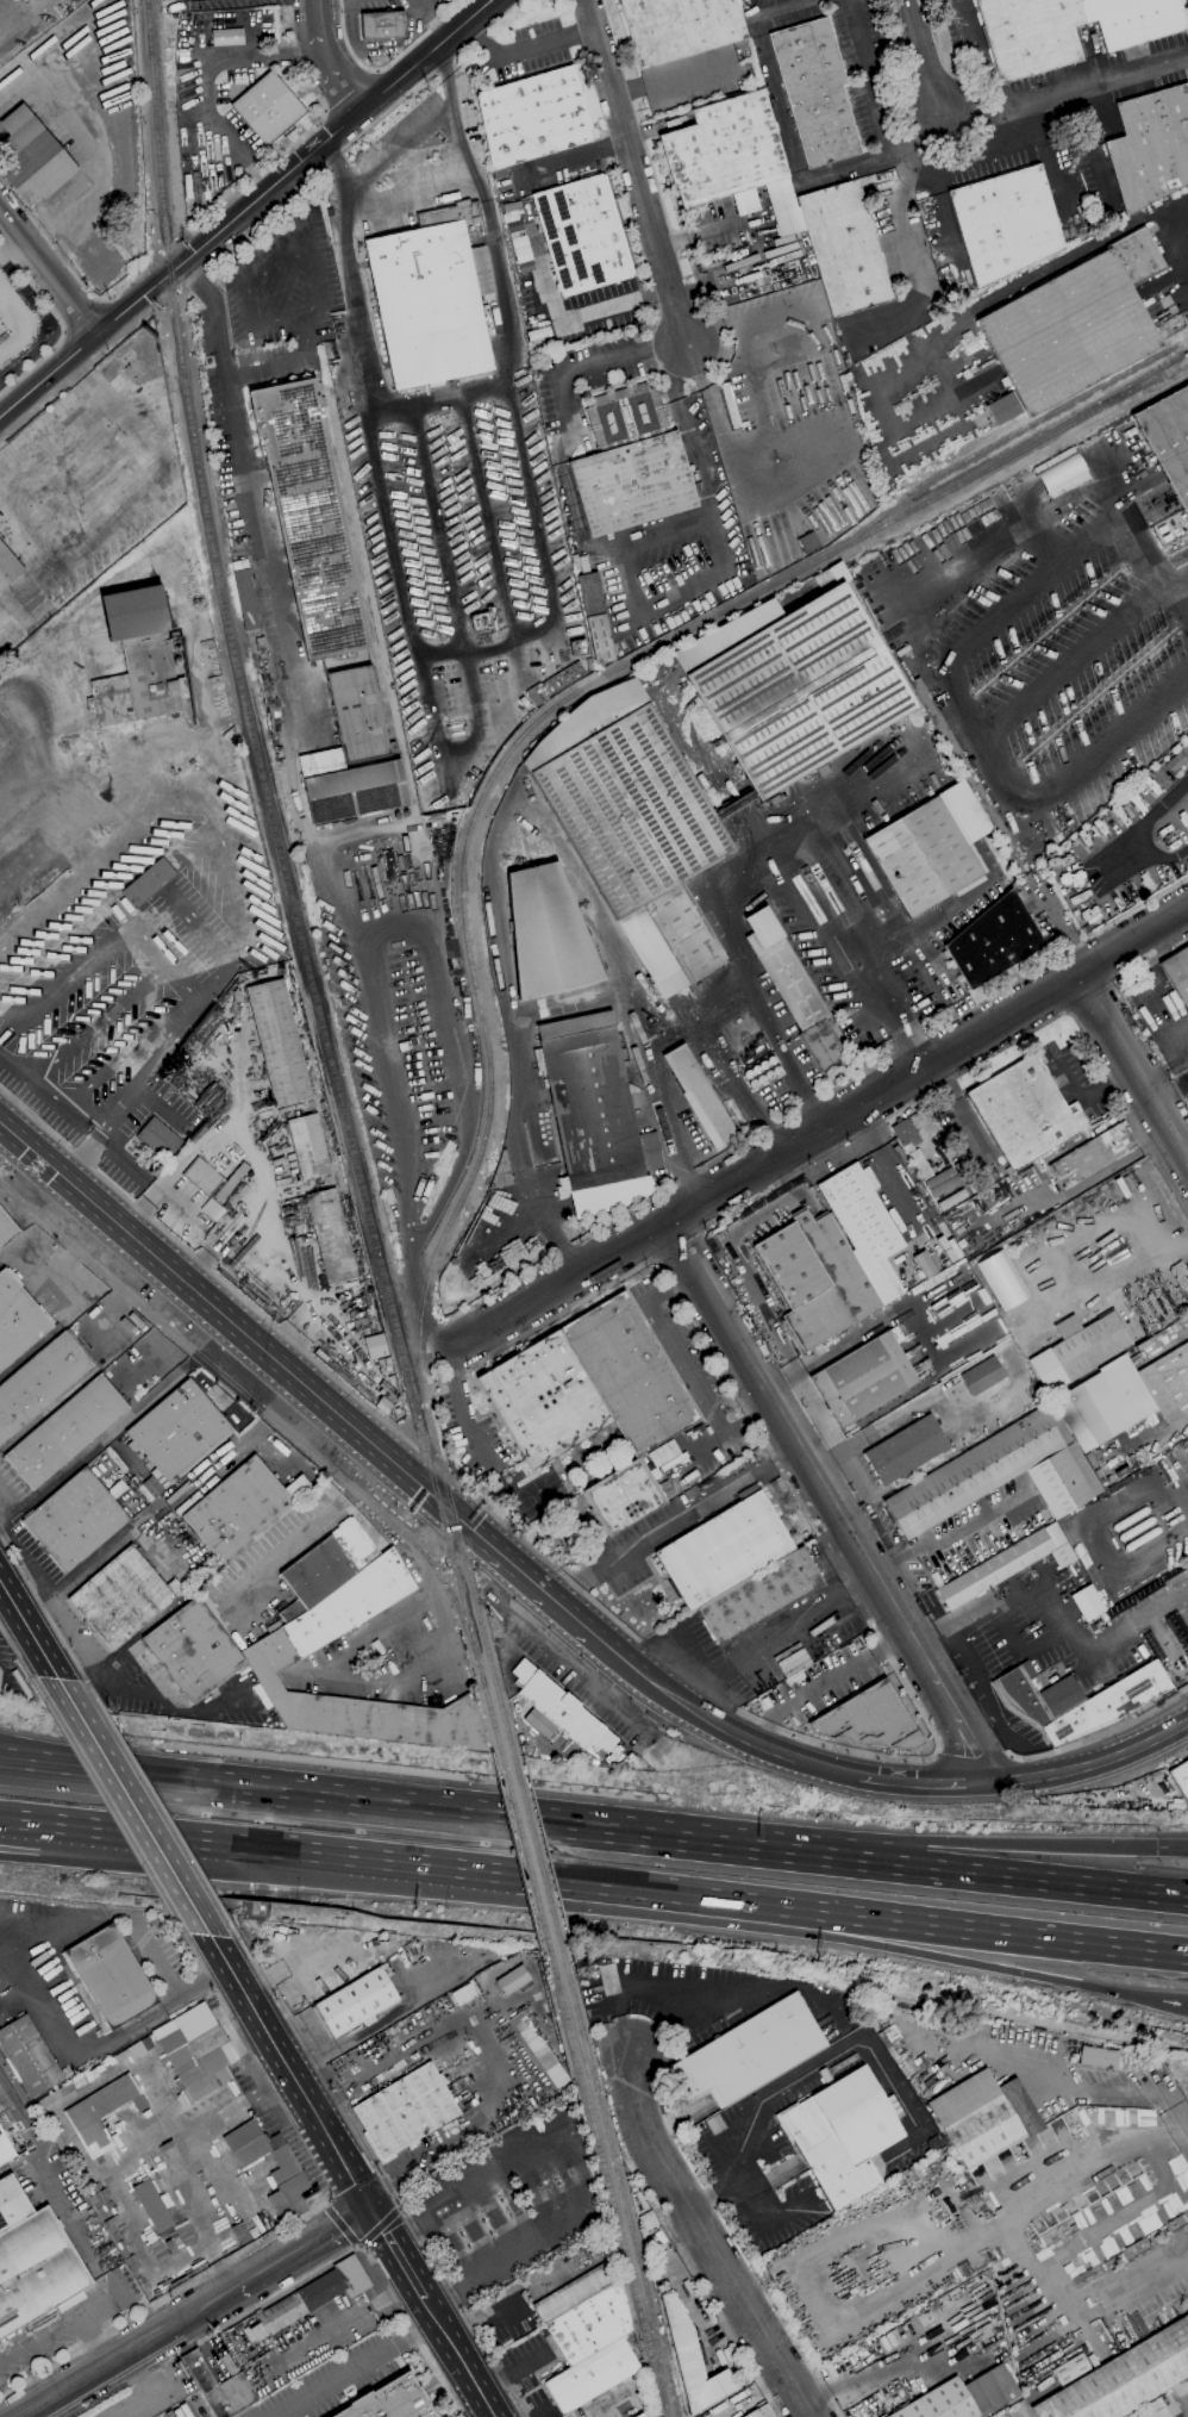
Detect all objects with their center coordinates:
road: (762, 5)
road: (317, 17)
building: (382, 24)
building: (679, 27)
building: (1068, 29)
building: (227, 37)
road: (525, 51)
road: (920, 57)
road: (388, 63)
road: (337, 73)
road: (870, 74)
road: (207, 77)
road: (674, 77)
building: (814, 91)
road: (1064, 98)
road: (393, 107)
building: (268, 108)
building: (533, 117)
road: (788, 138)
road: (943, 141)
road: (400, 145)
road: (289, 147)
building: (1150, 147)
building: (724, 150)
building: (32, 157)
road: (333, 158)
road: (571, 158)
road: (965, 161)
road: (636, 169)
flagpole: (382, 183)
flagpole: (392, 183)
flagpole: (376, 187)
road: (407, 197)
road: (245, 210)
road: (486, 211)
road: (621, 223)
building: (1005, 223)
road: (255, 224)
building: (582, 235)
road: (896, 239)
road: (11, 245)
building: (843, 248)
road: (264, 270)
road: (48, 272)
road: (349, 275)
road: (1030, 284)
building: (431, 298)
road: (212, 301)
road: (733, 319)
road: (562, 320)
road: (60, 324)
building: (1075, 324)
road: (706, 330)
road: (749, 339)
road: (698, 343)
road: (593, 360)
road: (289, 365)
road: (440, 398)
road: (762, 399)
building: (730, 406)
building: (1002, 409)
road: (684, 428)
road: (80, 438)
building: (1169, 438)
road: (725, 444)
railway: (993, 444)
road: (564, 450)
building: (630, 465)
building: (1059, 472)
road: (531, 504)
building: (308, 517)
road: (487, 518)
road: (574, 519)
road: (439, 528)
road: (268, 535)
road: (390, 536)
building: (808, 542)
road: (1145, 553)
building: (8, 566)
road: (1182, 585)
building: (246, 596)
road: (1182, 597)
road: (626, 603)
building: (595, 617)
building: (725, 633)
road: (558, 643)
road: (487, 647)
building: (144, 649)
road: (1071, 661)
road: (475, 691)
building: (799, 691)
road: (970, 727)
building: (352, 755)
road: (456, 756)
building: (959, 759)
building: (1176, 762)
building: (1159, 775)
building: (633, 827)
road: (1120, 849)
building: (923, 856)
railway: (463, 868)
road: (800, 879)
building: (148, 883)
railway: (286, 883)
road: (405, 909)
road: (1057, 927)
building: (546, 934)
building: (994, 941)
road: (927, 947)
building: (1177, 972)
building: (793, 988)
road: (594, 993)
road: (1082, 1033)
building: (111, 1044)
building: (279, 1044)
road: (1183, 1045)
road: (912, 1047)
road: (1134, 1061)
road: (733, 1083)
road: (1171, 1086)
road: (1094, 1088)
road: (1177, 1094)
building: (702, 1095)
building: (589, 1100)
road: (667, 1113)
building: (1025, 1113)
road: (819, 1127)
building: (905, 1133)
road: (761, 1134)
road: (98, 1135)
building: (160, 1139)
building: (308, 1146)
road: (848, 1146)
building: (649, 1151)
building: (1093, 1155)
building: (920, 1165)
building: (202, 1177)
road: (893, 1179)
building: (984, 1179)
road: (155, 1195)
road: (1138, 1196)
building: (213, 1214)
building: (864, 1227)
building: (6, 1229)
building: (331, 1236)
road: (208, 1269)
building: (815, 1278)
road: (418, 1308)
building: (17, 1320)
road: (773, 1331)
road: (862, 1331)
road: (245, 1334)
building: (374, 1346)
building: (1077, 1350)
parking lot: (694, 1360)
building: (982, 1376)
road: (780, 1378)
building: (864, 1379)
building: (39, 1382)
building: (1168, 1383)
building: (588, 1385)
building: (1103, 1403)
road: (461, 1408)
road: (907, 1409)
railway: (267, 1414)
building: (179, 1431)
building: (65, 1432)
parking lot: (470, 1433)
building: (905, 1450)
building: (664, 1454)
building: (999, 1475)
road: (795, 1495)
park: (539, 1496)
building: (624, 1497)
road: (831, 1499)
building: (240, 1507)
building: (75, 1520)
road: (679, 1522)
road: (940, 1535)
building: (355, 1544)
road: (527, 1545)
building: (724, 1551)
road: (19, 1563)
building: (1001, 1565)
building: (318, 1572)
building: (123, 1597)
building: (762, 1597)
building: (1086, 1602)
road: (981, 1609)
building: (292, 1612)
road: (579, 1622)
road: (29, 1630)
building: (298, 1638)
road: (62, 1639)
building: (1187, 1644)
building: (193, 1651)
road: (14, 1652)
building: (0, 1674)
road: (826, 1681)
road: (152, 1695)
building: (1077, 1700)
building: (561, 1709)
building: (869, 1720)
road: (1100, 1734)
road: (1145, 1743)
road: (762, 1745)
road: (938, 1755)
road: (975, 1756)
road: (1045, 1775)
building: (1181, 1779)
road: (924, 1783)
road: (105, 1804)
road: (133, 1806)
road: (161, 1809)
road: (434, 1814)
road: (1011, 1843)
road: (258, 1849)
traffic signals: (1159, 1851)
road: (1174, 1851)
road: (45, 1855)
railway: (525, 1856)
railway: (538, 1857)
road: (1028, 1880)
road: (636, 1890)
road: (787, 1919)
road: (970, 1929)
road: (1005, 1969)
building: (111, 1976)
building: (513, 1980)
road: (170, 1985)
road: (633, 1989)
building: (463, 1994)
building: (357, 2001)
building: (139, 2048)
building: (540, 2049)
building: (195, 2052)
building: (750, 2052)
building: (30, 2055)
building: (1099, 2057)
road: (255, 2058)
road: (807, 2066)
road: (290, 2072)
road: (376, 2074)
road: (1050, 2083)
road: (244, 2098)
building: (102, 2111)
building: (405, 2111)
road: (1183, 2112)
building: (983, 2116)
road: (177, 2125)
road: (471, 2131)
building: (52, 2132)
building: (842, 2135)
building: (246, 2143)
building: (5, 2149)
parking lot: (761, 2162)
road: (577, 2169)
road: (381, 2178)
building: (287, 2180)
railway: (620, 2185)
railway: (608, 2186)
gas station: (509, 2199)
building: (151, 2205)
traffic signals: (373, 2209)
road: (198, 2213)
road: (764, 2220)
road: (1014, 2234)
road: (706, 2240)
road: (305, 2248)
road: (399, 2254)
building: (32, 2260)
road: (300, 2280)
road: (233, 2291)
building: (576, 2292)
building: (315, 2294)
road: (509, 2299)
road: (340, 2324)
building: (590, 2324)
road: (729, 2331)
road: (75, 2353)
road: (125, 2355)
road: (459, 2357)
building: (692, 2360)
road: (356, 2367)
building: (1070, 2369)
building: (592, 2375)
building: (1125, 2378)
building: (219, 2387)
road: (151, 2392)
building: (963, 2397)
building: (390, 2400)
railway: (674, 2400)
road: (168, 2403)
building: (1161, 2406)
building: (759, 2412)
road: (35, 2413)
building: (639, 2415)
railway: (665, 2415)
building: (1007, 2415)

